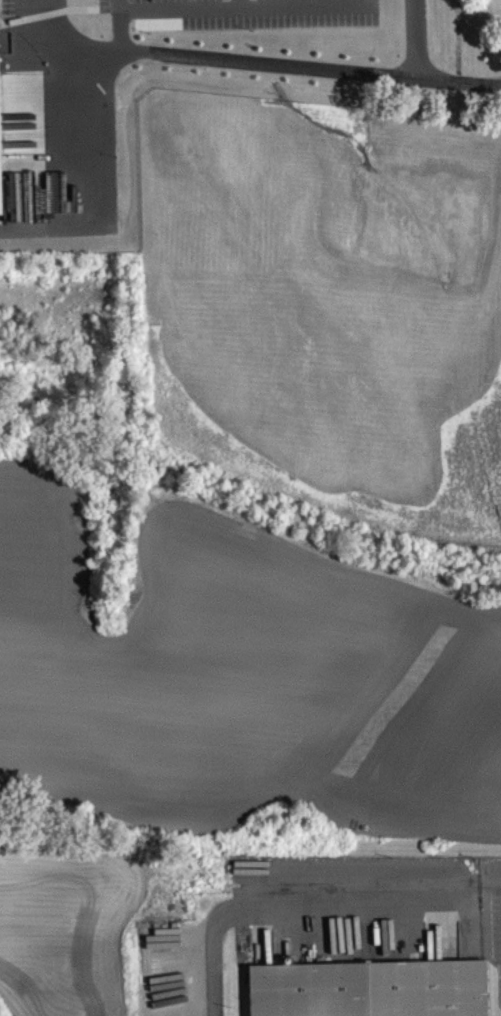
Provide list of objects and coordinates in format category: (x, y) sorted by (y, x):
road: (257, 72)
road: (397, 897)
parking lot: (356, 912)
building: (369, 988)

